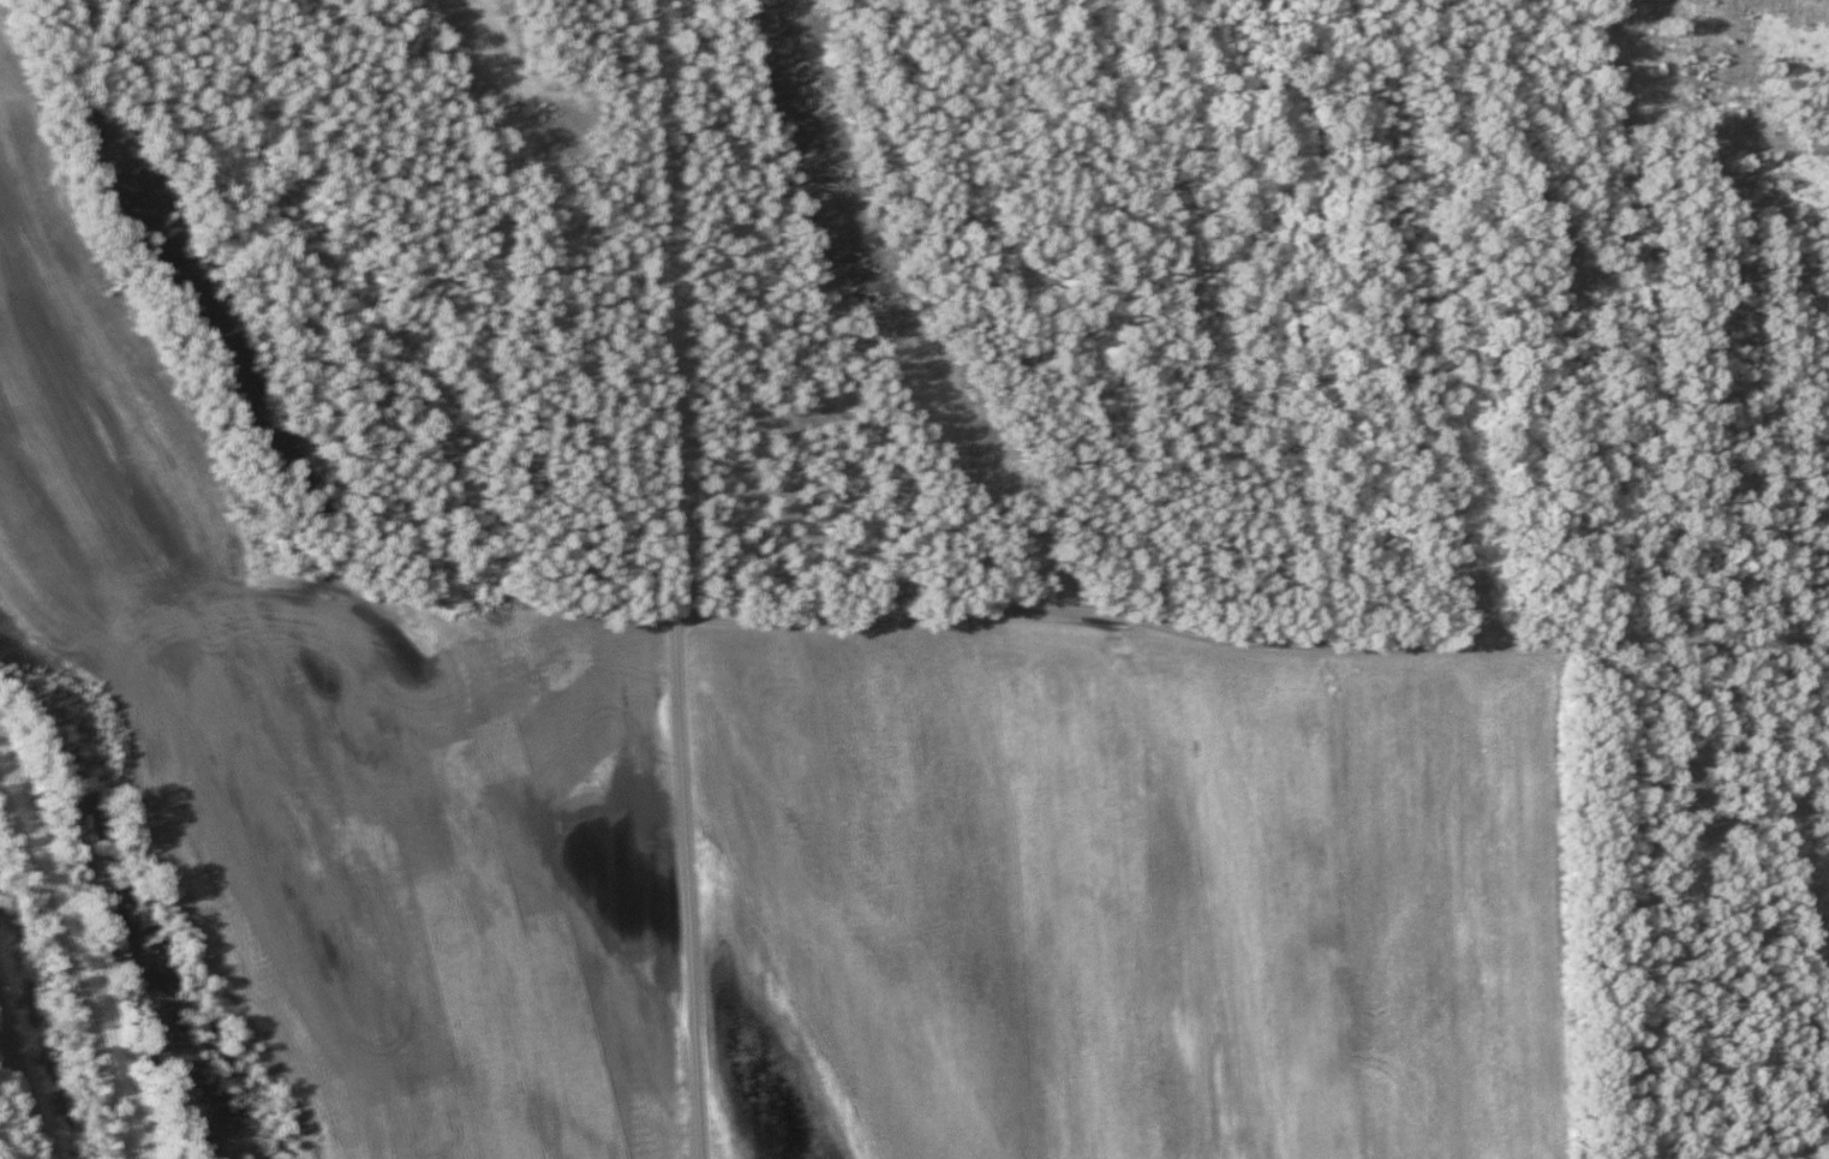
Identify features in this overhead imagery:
road: (674, 579)
road: (1255, 631)

